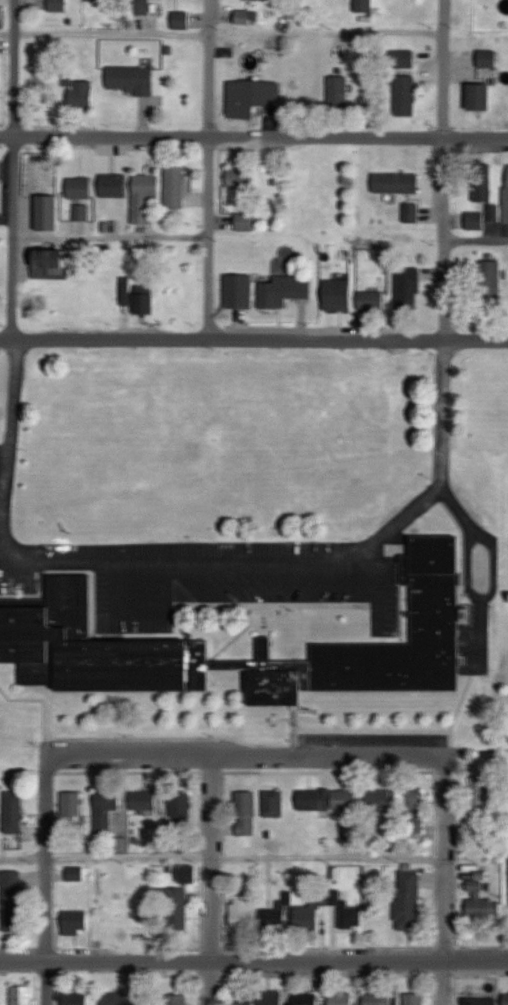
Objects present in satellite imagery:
building: (57, 5)
building: (140, 6)
building: (363, 6)
building: (242, 17)
building: (180, 19)
road: (104, 33)
building: (487, 59)
road: (443, 68)
building: (130, 78)
building: (404, 82)
building: (338, 90)
building: (80, 93)
building: (251, 97)
building: (480, 97)
road: (253, 136)
road: (14, 169)
road: (208, 169)
building: (42, 172)
building: (240, 177)
building: (396, 182)
building: (482, 183)
building: (112, 185)
building: (175, 186)
building: (79, 187)
building: (144, 197)
building: (81, 212)
building: (411, 212)
building: (491, 217)
building: (244, 221)
building: (47, 224)
road: (111, 237)
road: (442, 238)
road: (475, 240)
building: (54, 258)
building: (490, 282)
building: (284, 290)
building: (409, 290)
building: (238, 291)
building: (338, 294)
building: (145, 299)
building: (371, 300)
road: (254, 338)
road: (10, 445)
road: (309, 562)
road: (495, 562)
building: (45, 619)
road: (244, 756)
building: (327, 800)
building: (145, 801)
building: (379, 801)
building: (71, 803)
building: (273, 803)
building: (480, 803)
building: (181, 804)
building: (414, 808)
building: (106, 810)
building: (13, 812)
building: (246, 813)
road: (222, 855)
road: (212, 858)
building: (76, 874)
building: (189, 874)
building: (481, 898)
building: (409, 900)
building: (15, 904)
road: (45, 910)
building: (243, 911)
building: (145, 912)
building: (348, 913)
building: (181, 914)
building: (278, 915)
building: (107, 916)
building: (307, 917)
building: (75, 922)
road: (442, 930)
road: (253, 960)
road: (211, 982)
road: (45, 983)
building: (21, 995)
building: (272, 997)
building: (341, 997)
building: (306, 998)
building: (413, 998)
building: (76, 999)
building: (120, 999)
building: (177, 999)
building: (245, 999)
building: (378, 999)
building: (506, 999)
building: (480, 1001)

